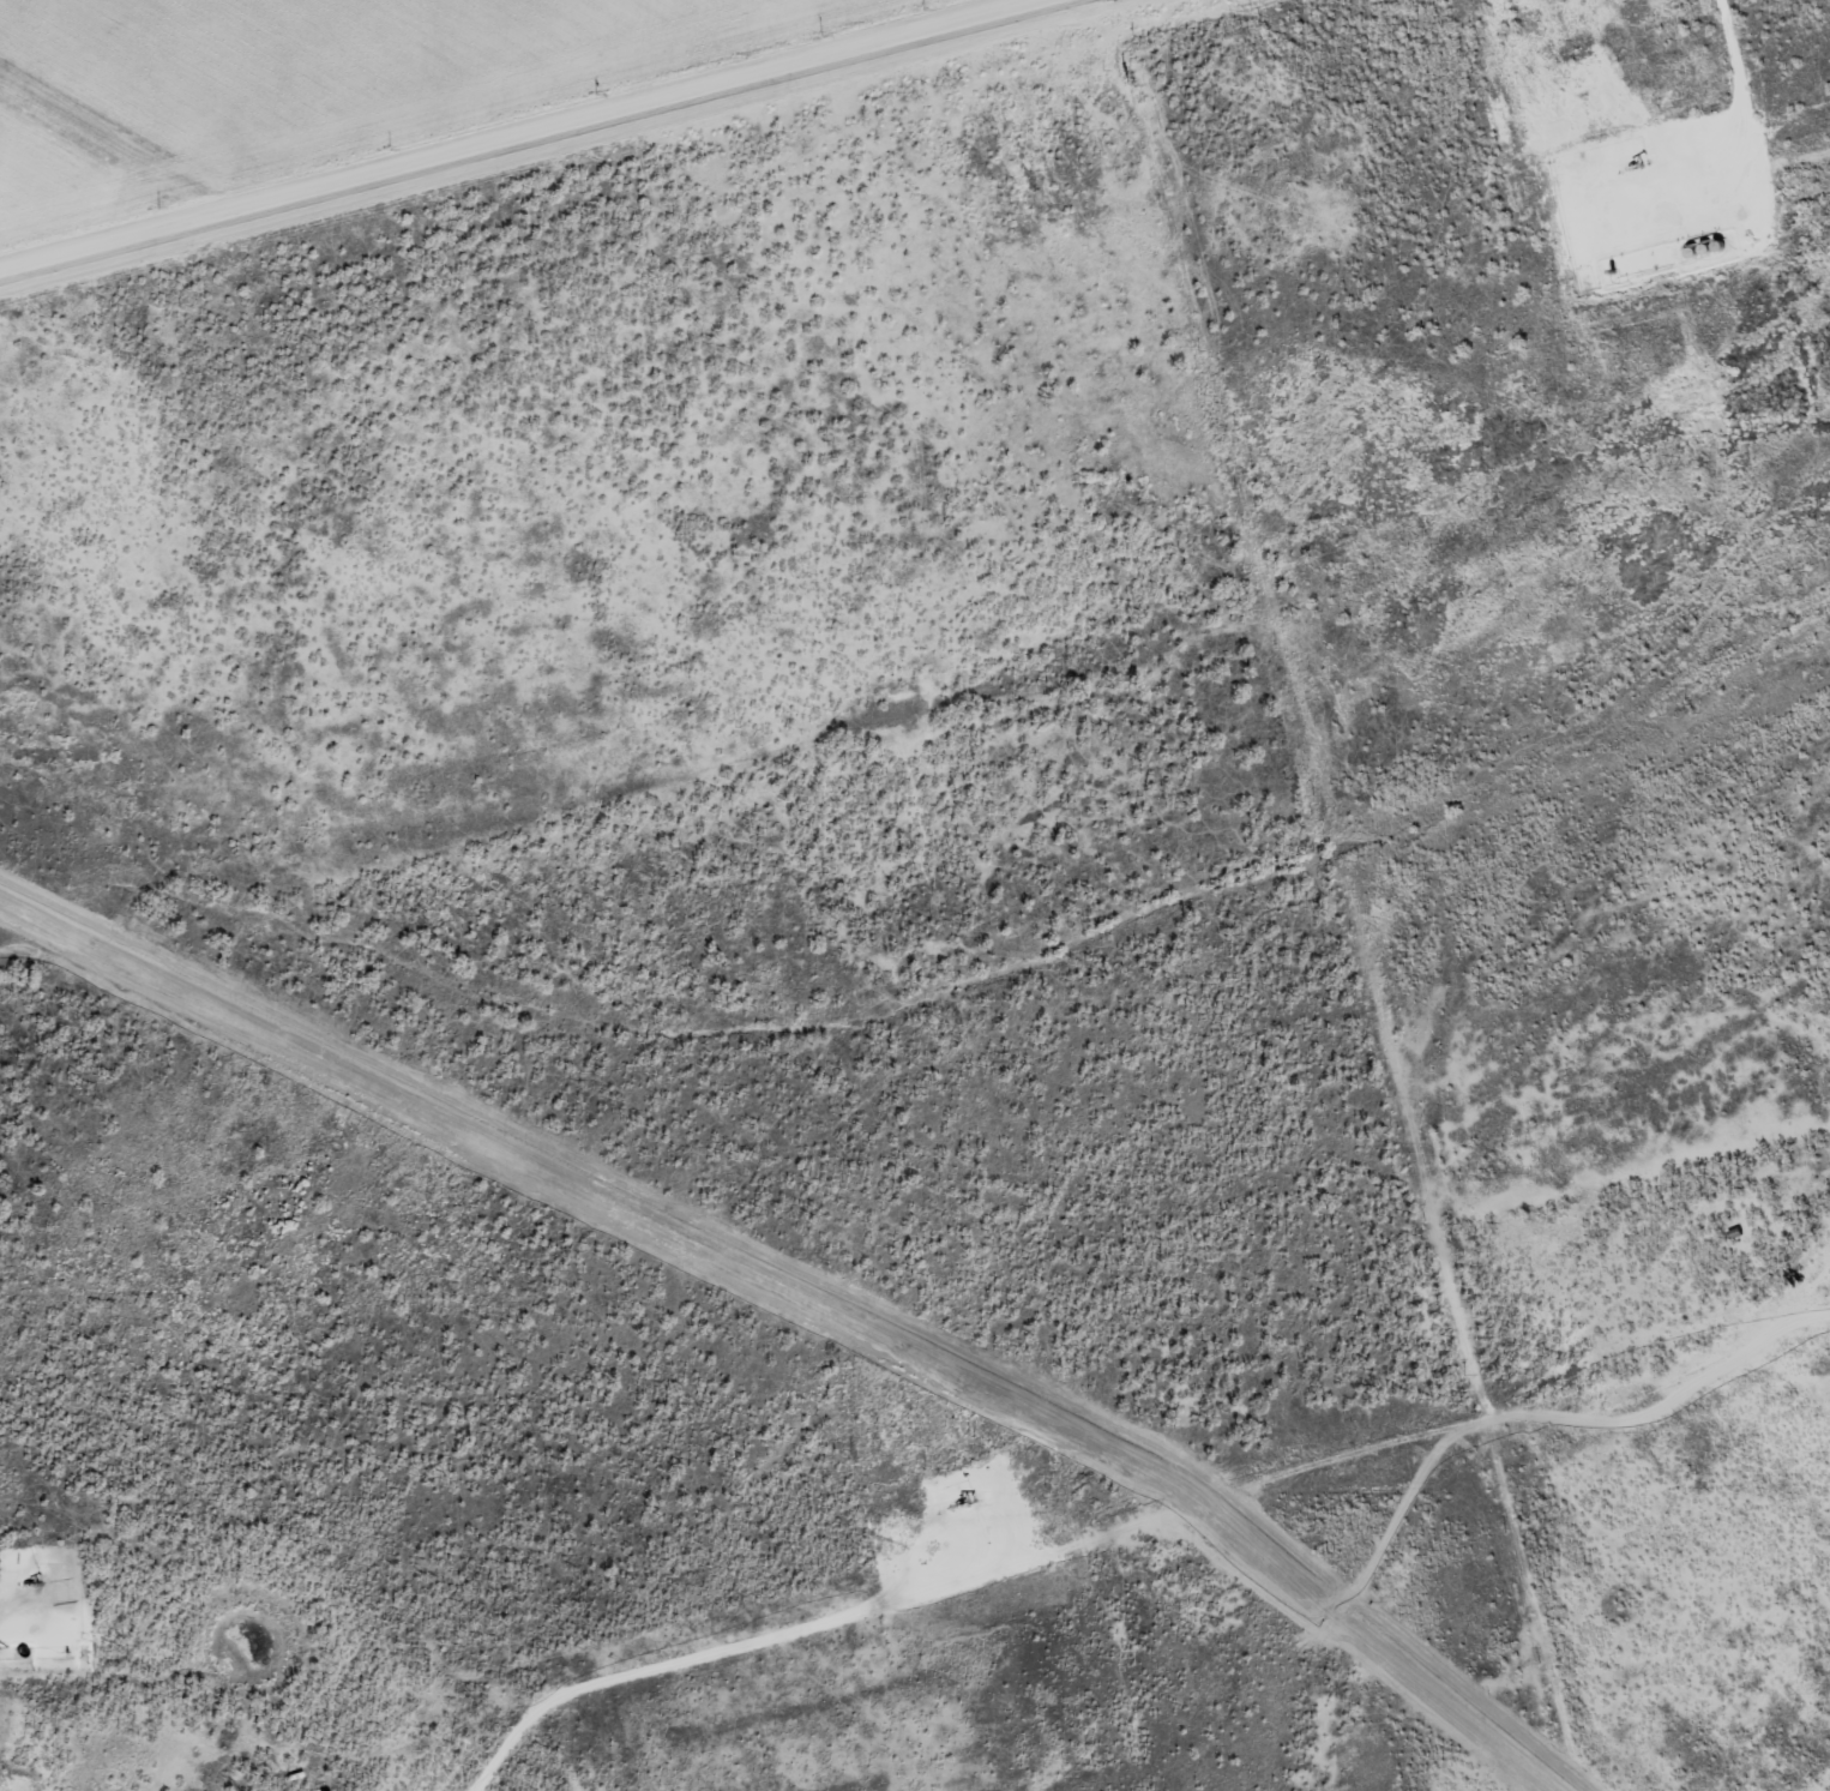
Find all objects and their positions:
road: (579, 149)

